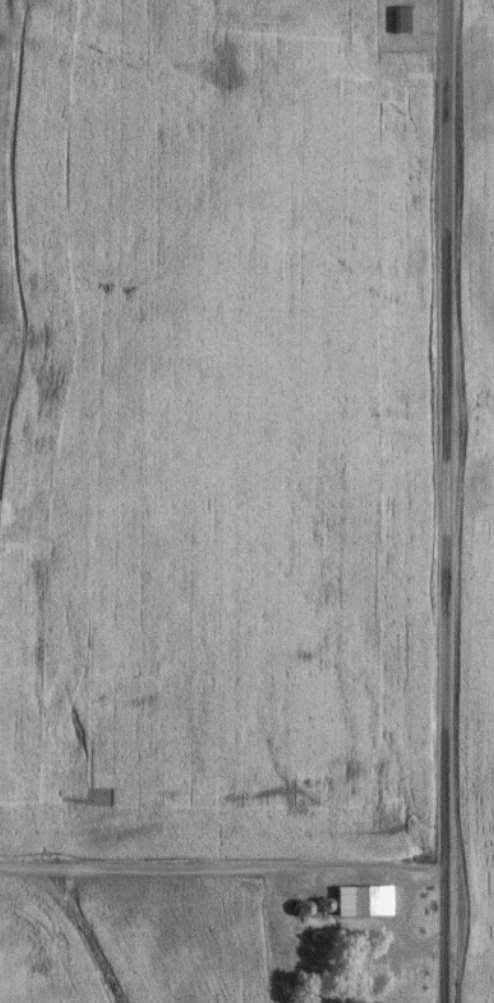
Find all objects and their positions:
road: (444, 501)
road: (222, 867)
building: (357, 898)
building: (298, 908)
road: (399, 927)
building: (360, 952)

